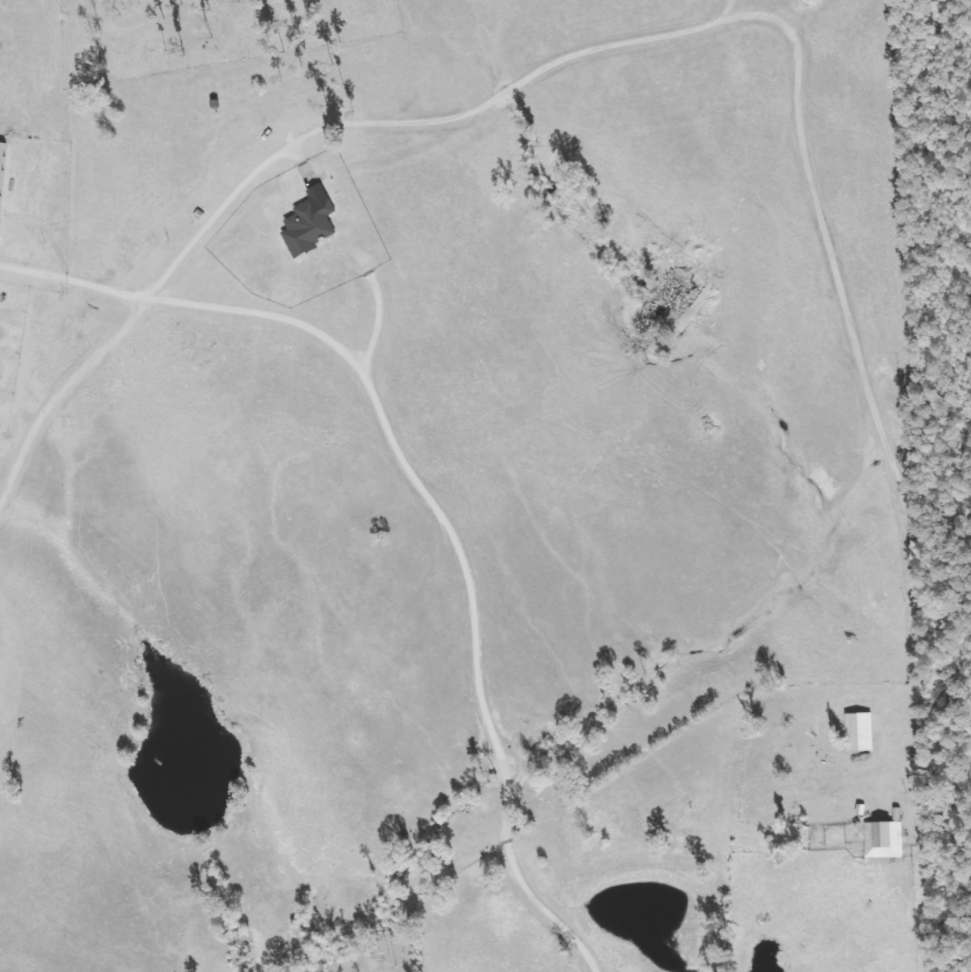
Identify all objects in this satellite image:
building: (2, 168)
road: (840, 203)
building: (856, 732)
building: (881, 839)

